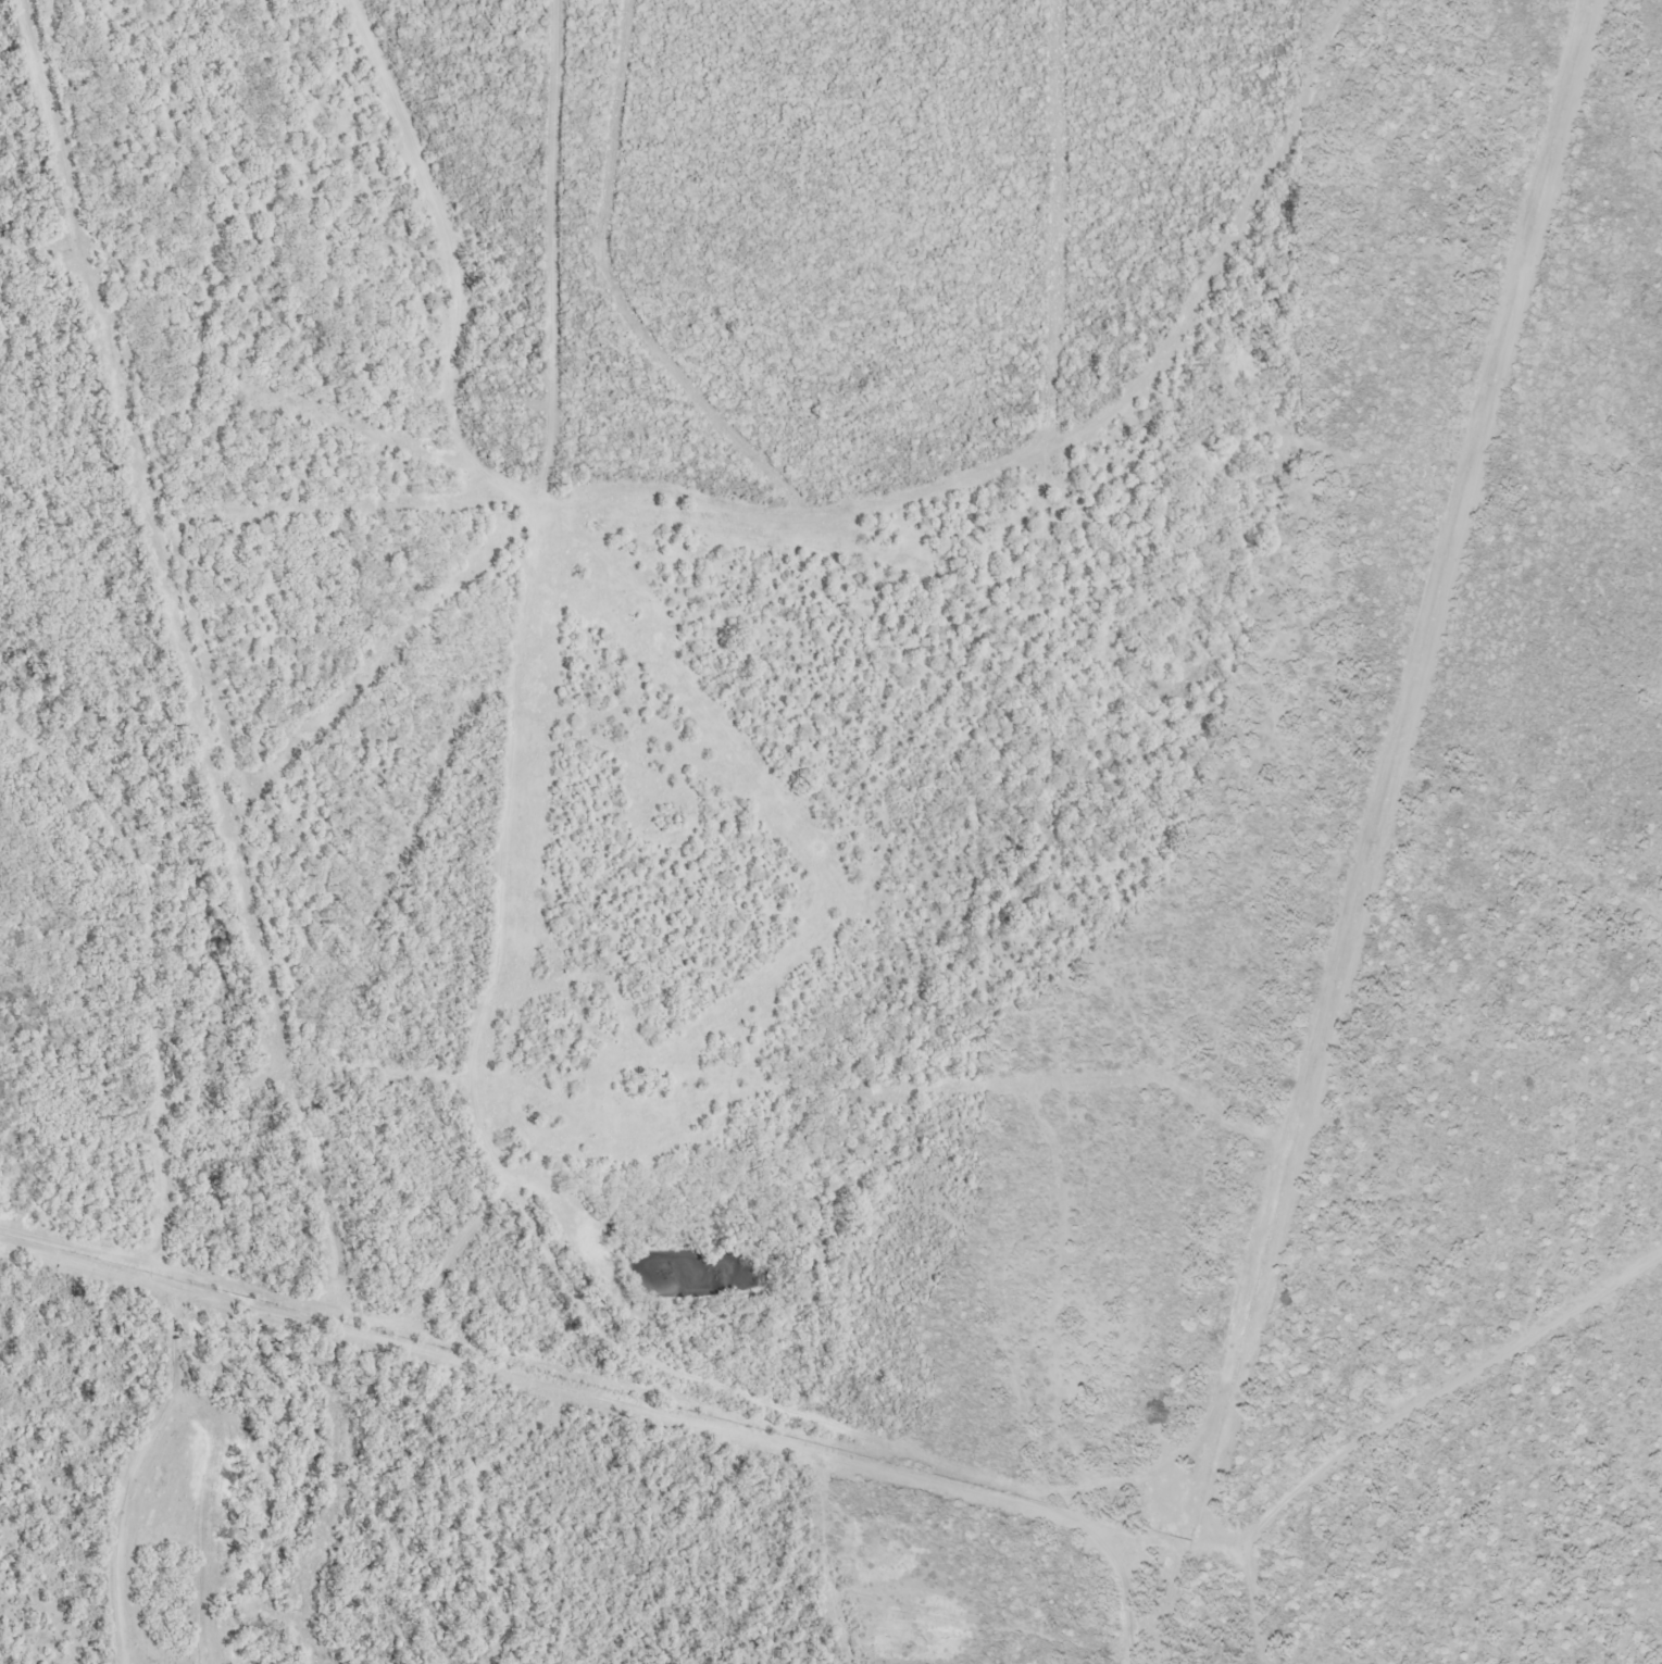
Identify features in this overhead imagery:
road: (429, 178)
road: (512, 690)
road: (139, 983)
road: (871, 1440)
road: (1132, 1603)

